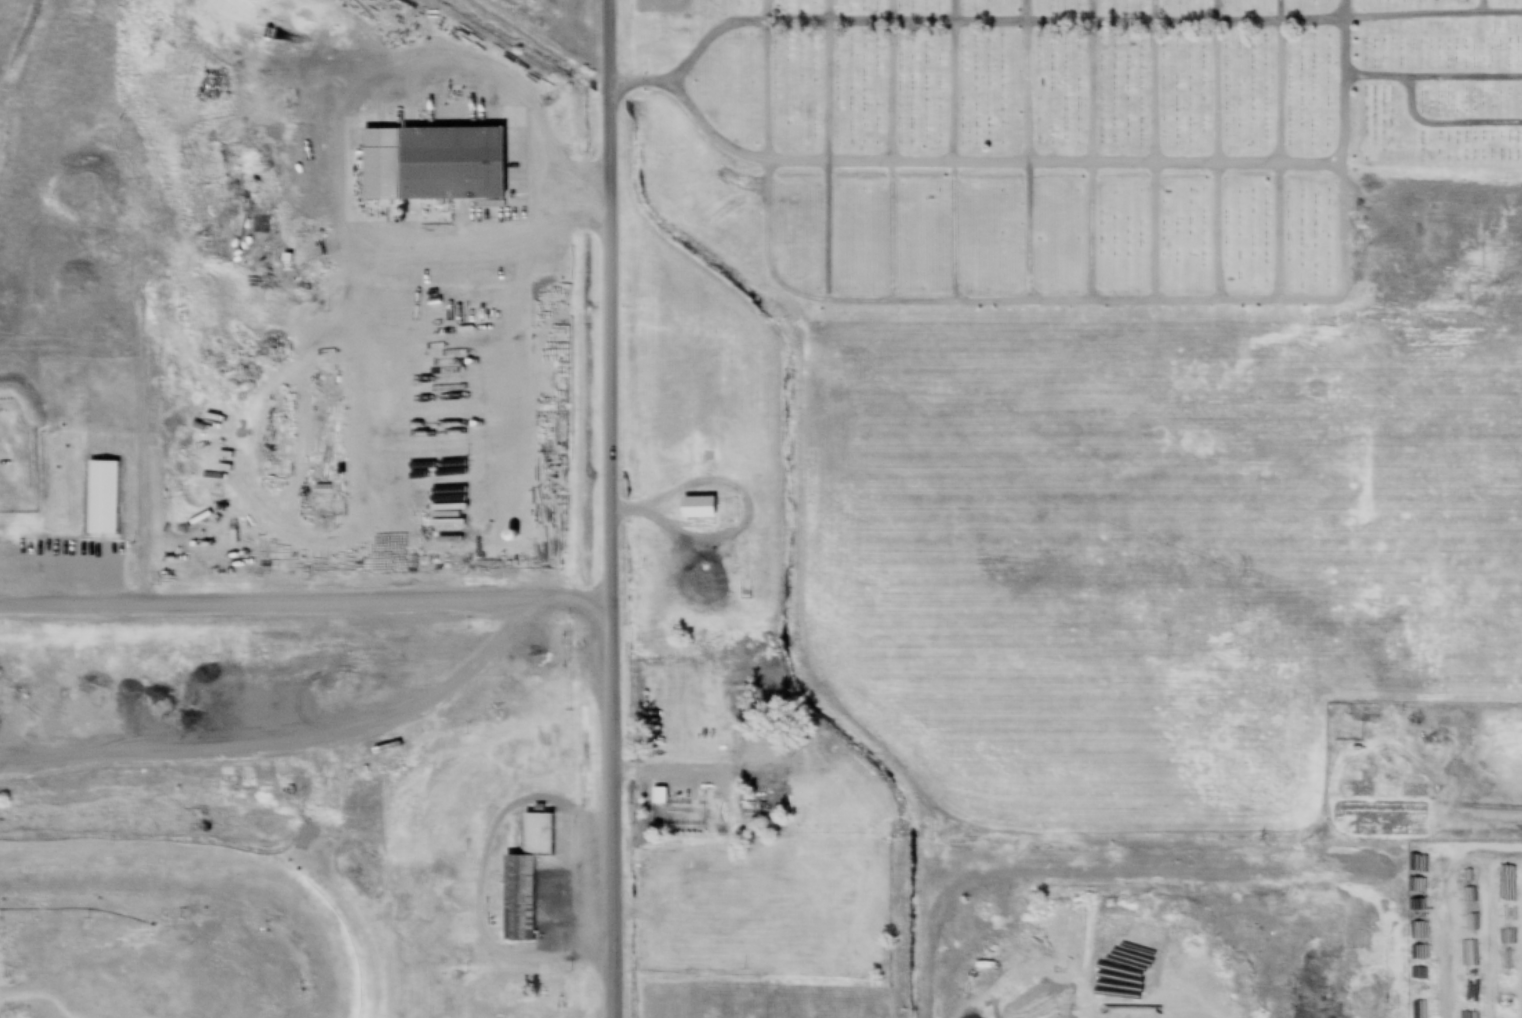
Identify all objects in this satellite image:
road: (962, 26)
road: (1493, 37)
road: (1433, 74)
road: (1025, 79)
road: (766, 80)
road: (825, 80)
road: (888, 80)
road: (953, 80)
road: (1091, 80)
road: (1153, 80)
road: (1218, 81)
road: (1282, 81)
road: (1444, 122)
road: (1069, 160)
building: (431, 165)
road: (515, 280)
building: (102, 498)
road: (612, 508)
building: (697, 509)
building: (1366, 717)
building: (175, 766)
road: (1095, 875)
building: (524, 879)

